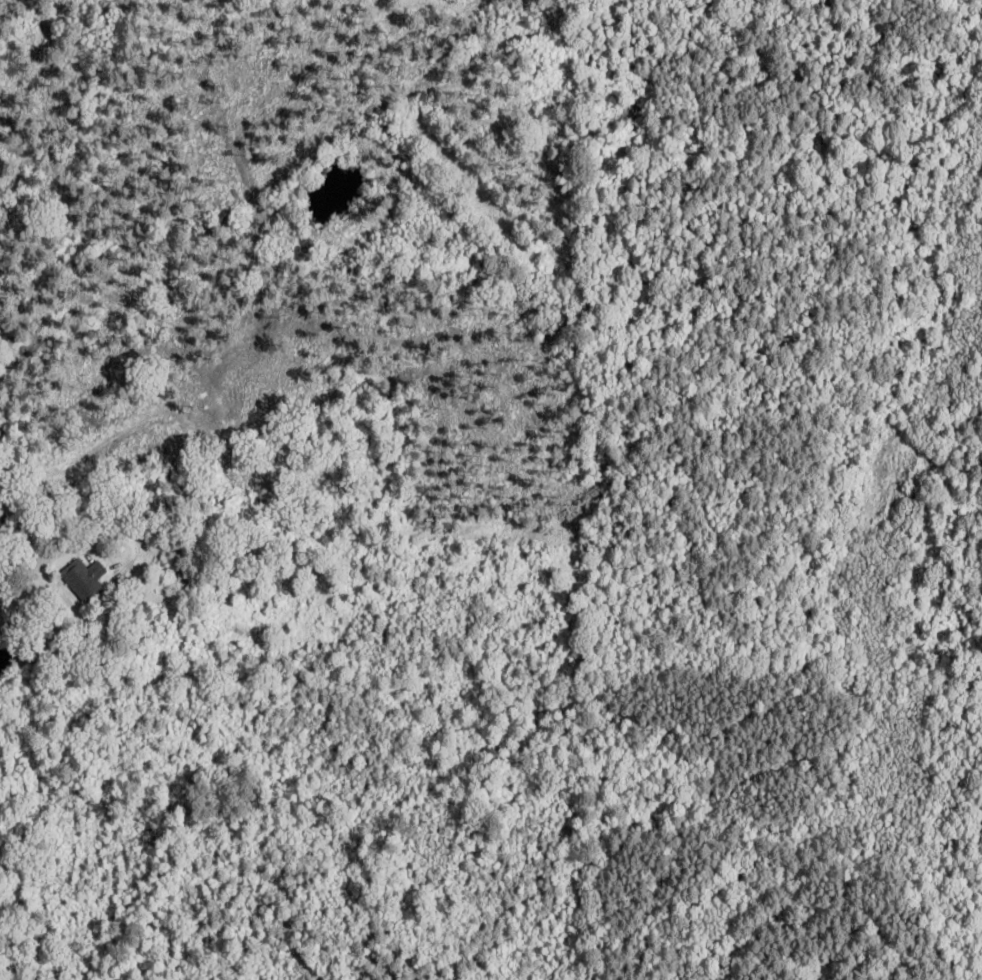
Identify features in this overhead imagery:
building: (4, 524)
building: (86, 579)

